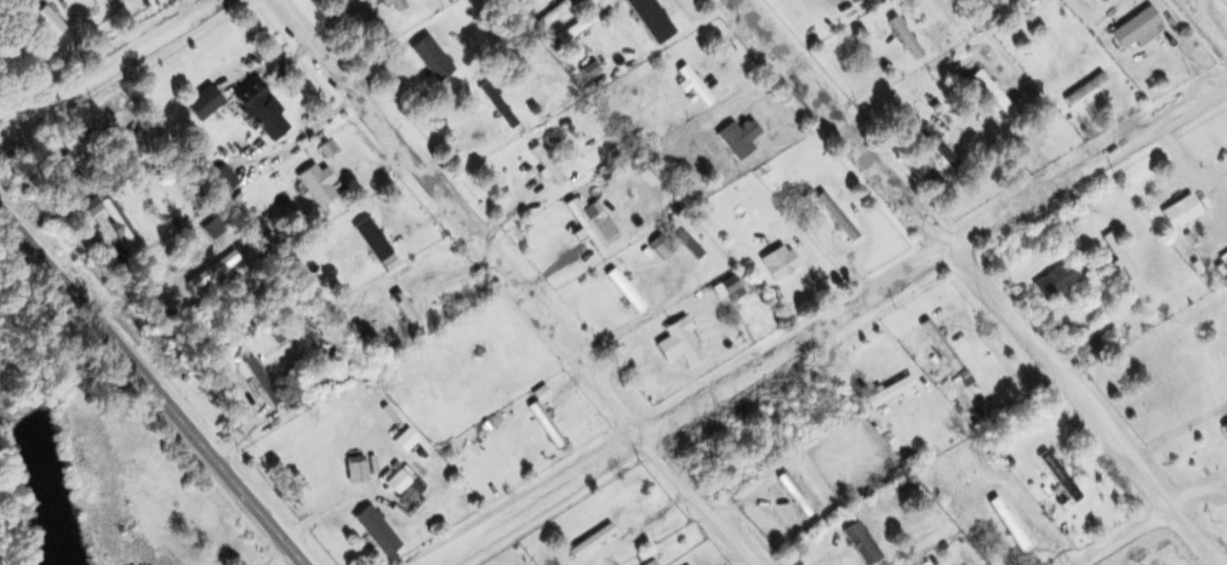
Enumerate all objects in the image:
building: (396, 5)
building: (645, 18)
building: (48, 24)
road: (1204, 27)
building: (1136, 28)
building: (904, 36)
building: (432, 59)
road: (109, 63)
building: (695, 86)
building: (1085, 90)
building: (993, 93)
building: (205, 103)
building: (497, 105)
building: (266, 115)
building: (740, 139)
building: (938, 148)
building: (547, 165)
building: (221, 179)
building: (1182, 212)
building: (838, 217)
building: (372, 240)
building: (662, 247)
building: (1122, 256)
building: (782, 266)
road: (976, 281)
building: (1056, 282)
road: (514, 285)
building: (626, 291)
building: (403, 309)
road: (827, 320)
building: (681, 344)
road: (152, 387)
building: (546, 426)
building: (1060, 475)
building: (403, 486)
building: (1009, 523)
building: (377, 531)
road: (1123, 536)
road: (272, 552)
building: (926, 564)

